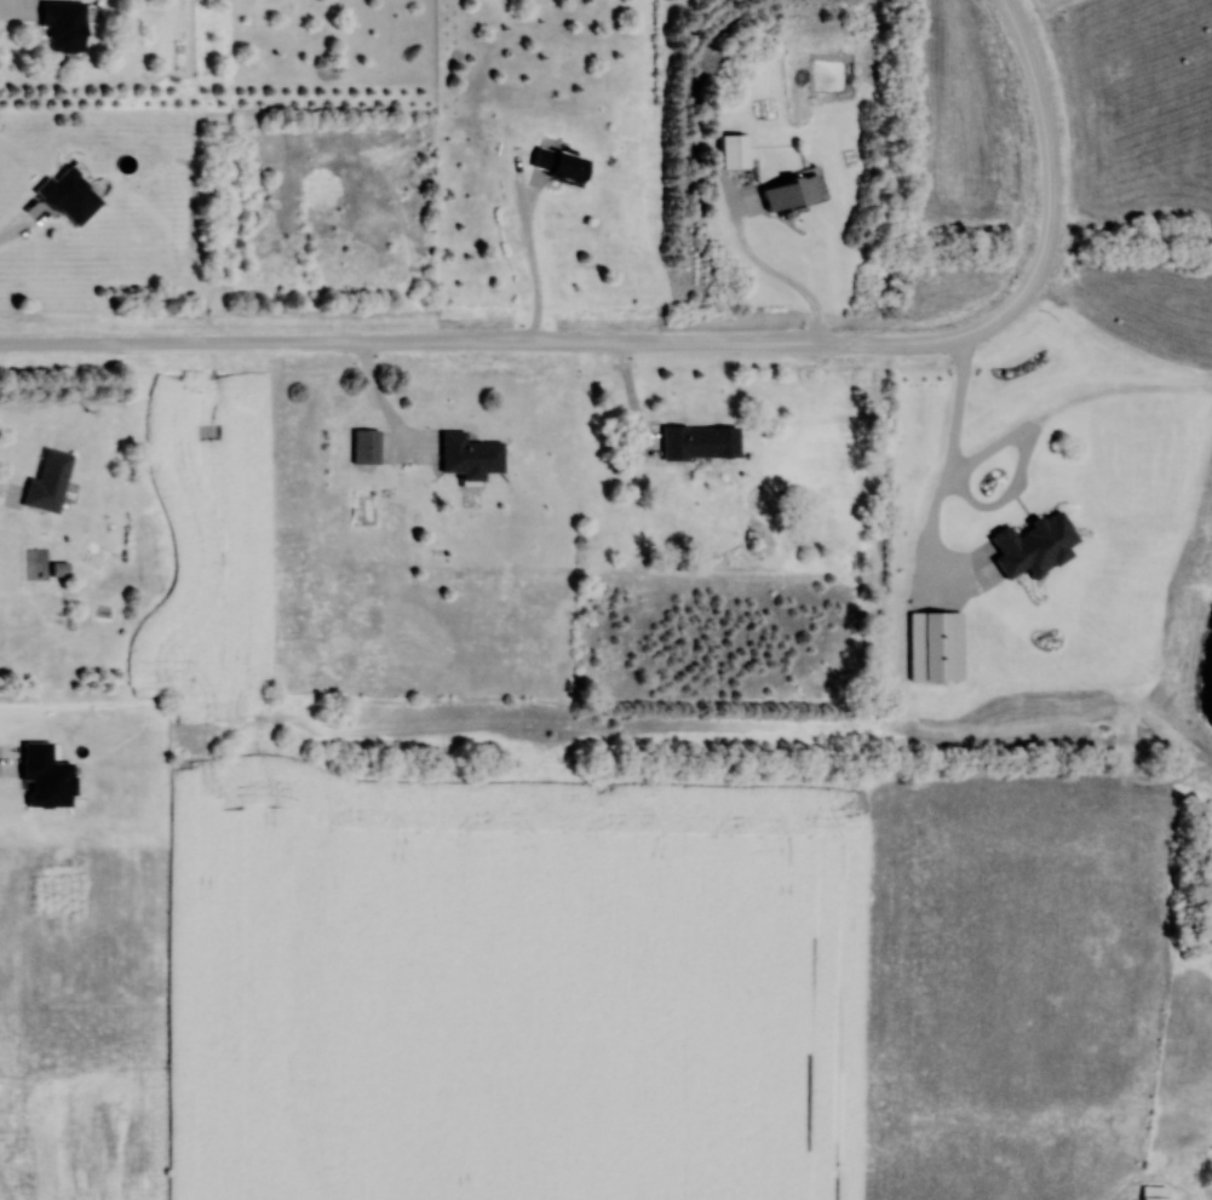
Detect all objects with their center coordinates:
building: (65, 24)
building: (736, 151)
building: (561, 165)
building: (793, 191)
building: (71, 195)
road: (1049, 200)
road: (533, 260)
road: (772, 270)
road: (467, 346)
road: (386, 408)
building: (701, 442)
building: (367, 446)
building: (472, 457)
road: (944, 480)
building: (50, 482)
building: (1155, 1193)

